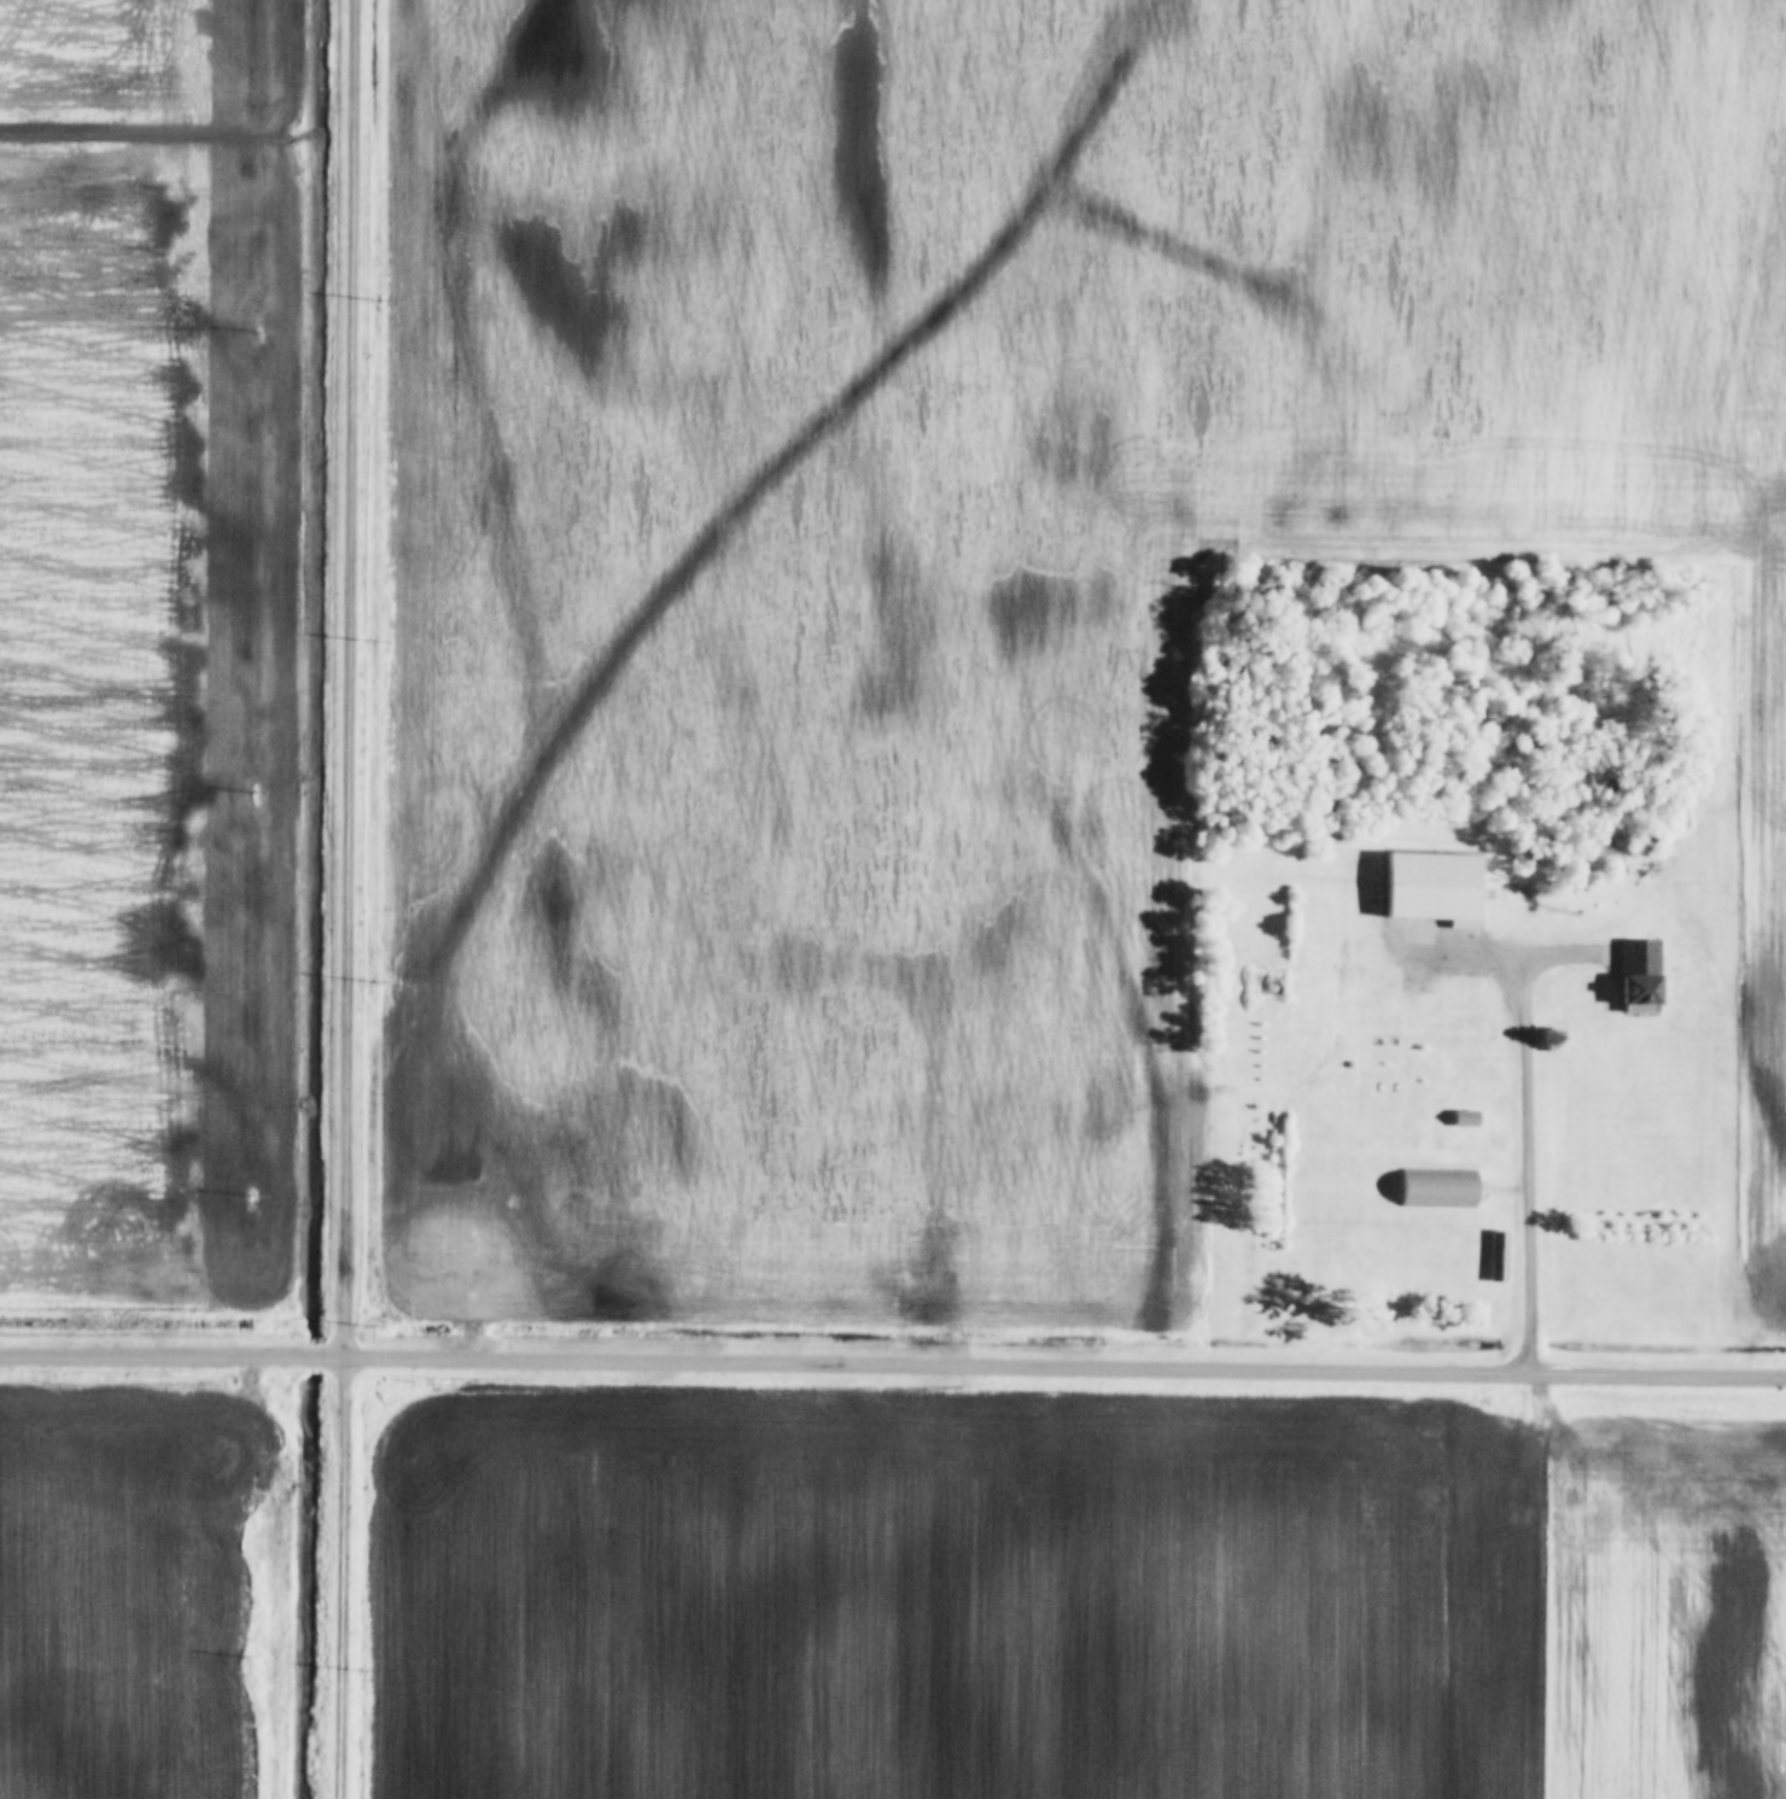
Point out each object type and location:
road: (337, 899)
road: (1530, 1133)
road: (893, 1366)

